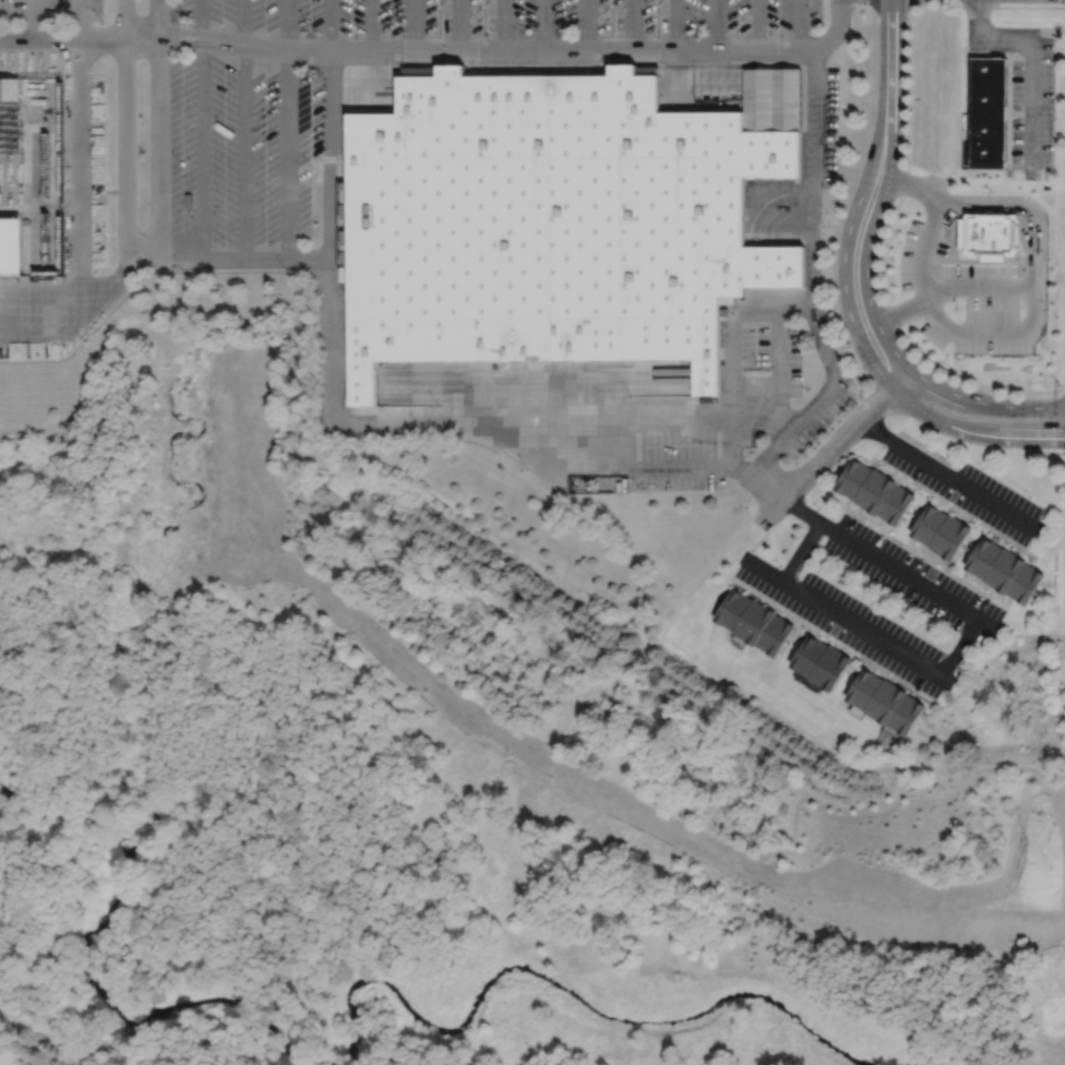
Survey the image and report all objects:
parking lot: (50, 11)
road: (32, 19)
road: (79, 19)
road: (718, 24)
road: (757, 24)
road: (799, 24)
road: (412, 25)
road: (460, 25)
road: (501, 25)
road: (542, 25)
road: (587, 25)
road: (632, 25)
road: (675, 25)
road: (328, 26)
road: (368, 26)
road: (61, 37)
road: (890, 47)
road: (500, 51)
road: (1033, 60)
building: (418, 71)
building: (12, 91)
street lamp: (874, 98)
building: (770, 99)
parking lot: (1032, 103)
street lamp: (839, 108)
building: (988, 113)
road: (286, 130)
road: (124, 131)
road: (157, 131)
road: (200, 131)
road: (242, 131)
parking lot: (250, 152)
road: (77, 170)
road: (914, 184)
street lamp: (991, 192)
road: (1029, 203)
street lamp: (824, 208)
building: (550, 224)
road: (870, 236)
building: (989, 236)
road: (325, 240)
road: (1030, 241)
street lamp: (899, 242)
road: (846, 243)
building: (11, 248)
street lamp: (1048, 258)
road: (921, 274)
road: (811, 280)
parking lot: (966, 298)
road: (81, 300)
street lamp: (959, 307)
road: (795, 308)
street lamp: (1046, 309)
road: (1032, 312)
road: (734, 344)
street lamp: (761, 368)
street lamp: (863, 370)
street lamp: (855, 402)
road: (983, 402)
parking lot: (729, 415)
road: (625, 418)
road: (399, 419)
road: (972, 432)
street lamp: (943, 435)
road: (835, 446)
street lamp: (883, 447)
street lamp: (527, 468)
road: (884, 468)
street lamp: (982, 468)
building: (852, 477)
road: (949, 478)
road: (904, 481)
parking lot: (968, 489)
building: (874, 490)
street lamp: (920, 493)
street lamp: (1029, 496)
street lamp: (750, 499)
building: (896, 503)
road: (946, 507)
road: (954, 507)
street lamp: (817, 508)
road: (858, 511)
road: (959, 515)
road: (878, 523)
building: (928, 524)
street lamp: (976, 527)
building: (949, 537)
road: (1001, 540)
road: (1013, 548)
road: (921, 549)
road: (923, 557)
road: (933, 557)
building: (983, 557)
road: (953, 561)
street lamp: (779, 565)
road: (762, 569)
building: (1005, 570)
building: (1026, 583)
road: (988, 590)
road: (762, 600)
parking lot: (877, 600)
building: (731, 608)
road: (782, 613)
building: (753, 622)
street lamp: (802, 625)
building: (774, 635)
road: (825, 639)
road: (833, 639)
road: (837, 646)
building: (807, 655)
street lamp: (859, 659)
road: (953, 659)
building: (829, 668)
road: (879, 673)
road: (893, 680)
building: (863, 689)
road: (913, 693)
building: (885, 702)
building: (906, 715)
road: (513, 759)

